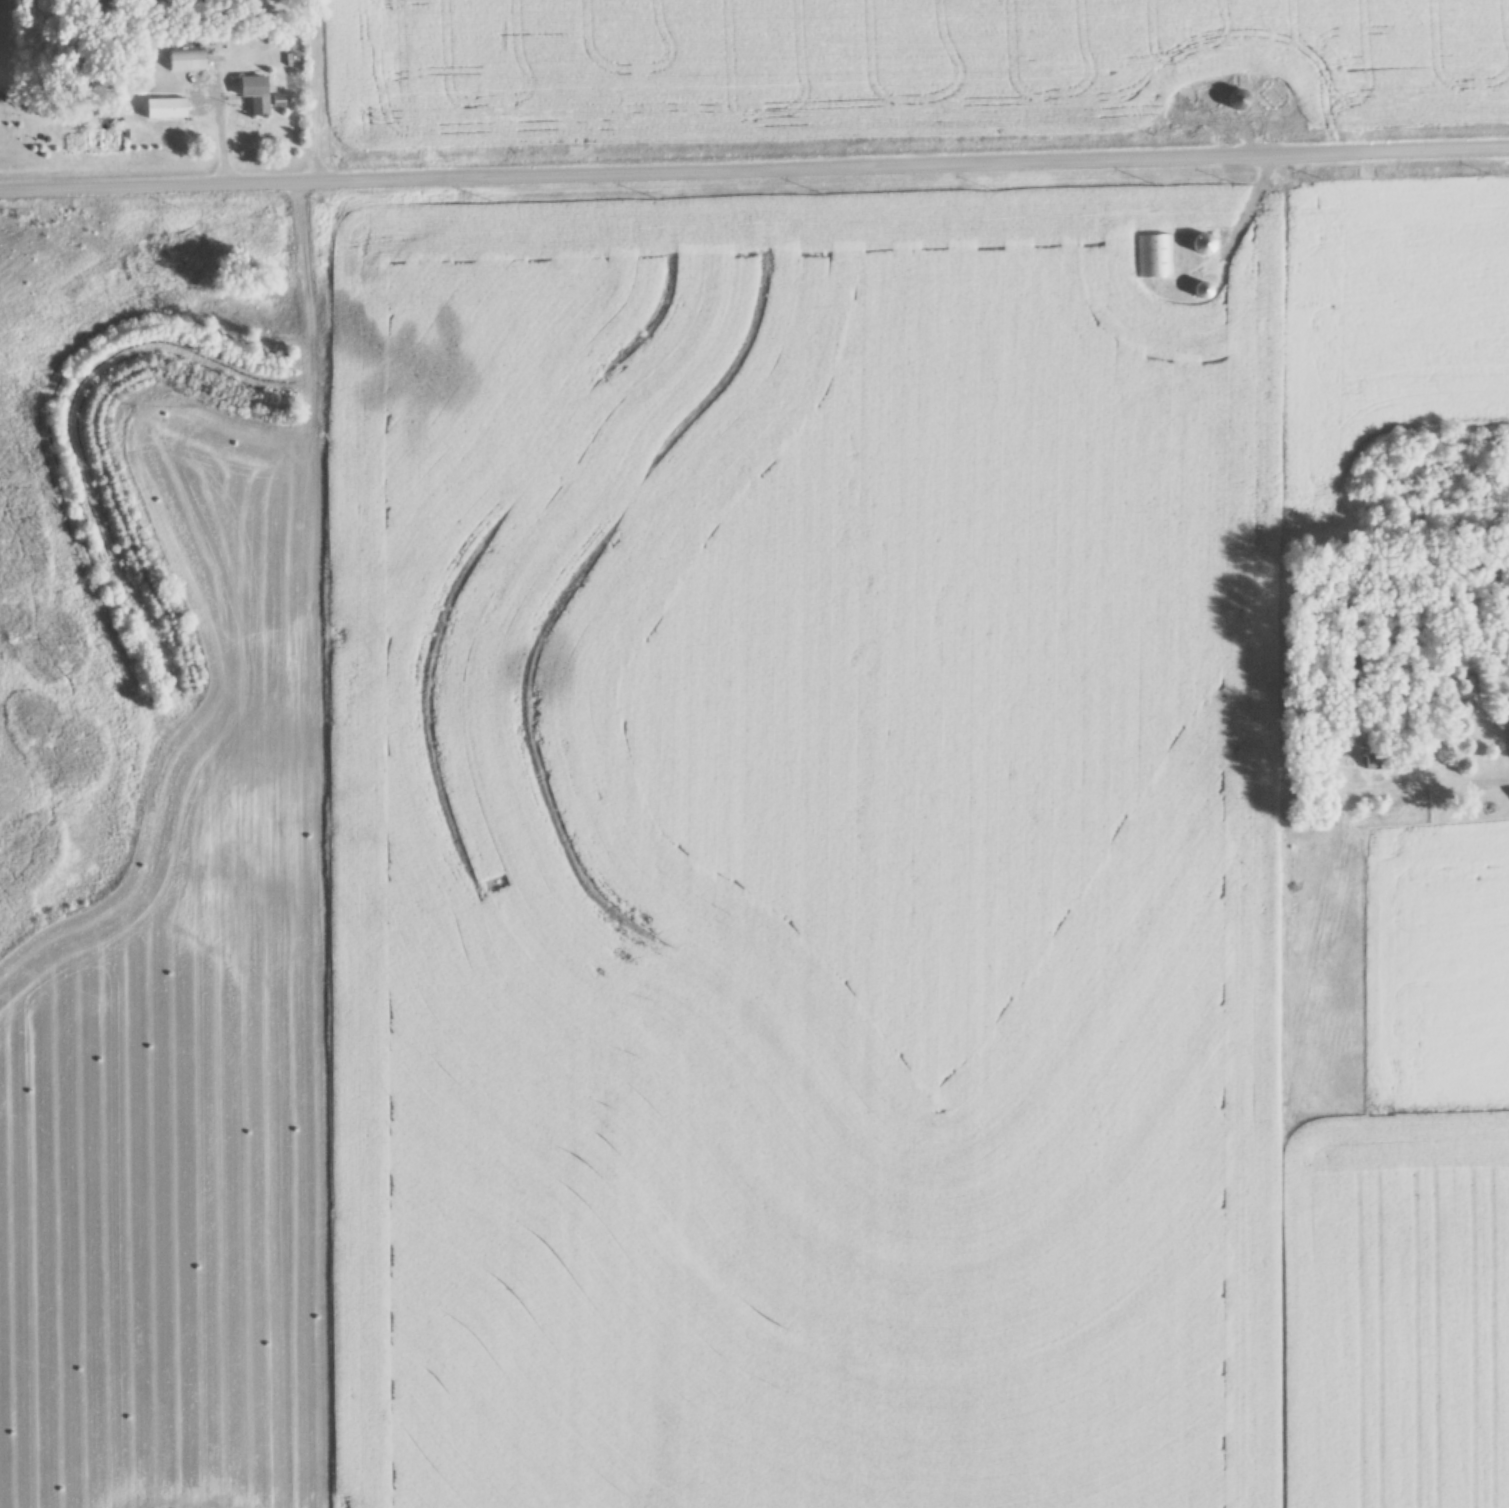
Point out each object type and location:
building: (184, 59)
building: (253, 93)
building: (1235, 100)
building: (163, 108)
road: (754, 168)
building: (1200, 243)
building: (1154, 256)
building: (1201, 289)
building: (1380, 758)

